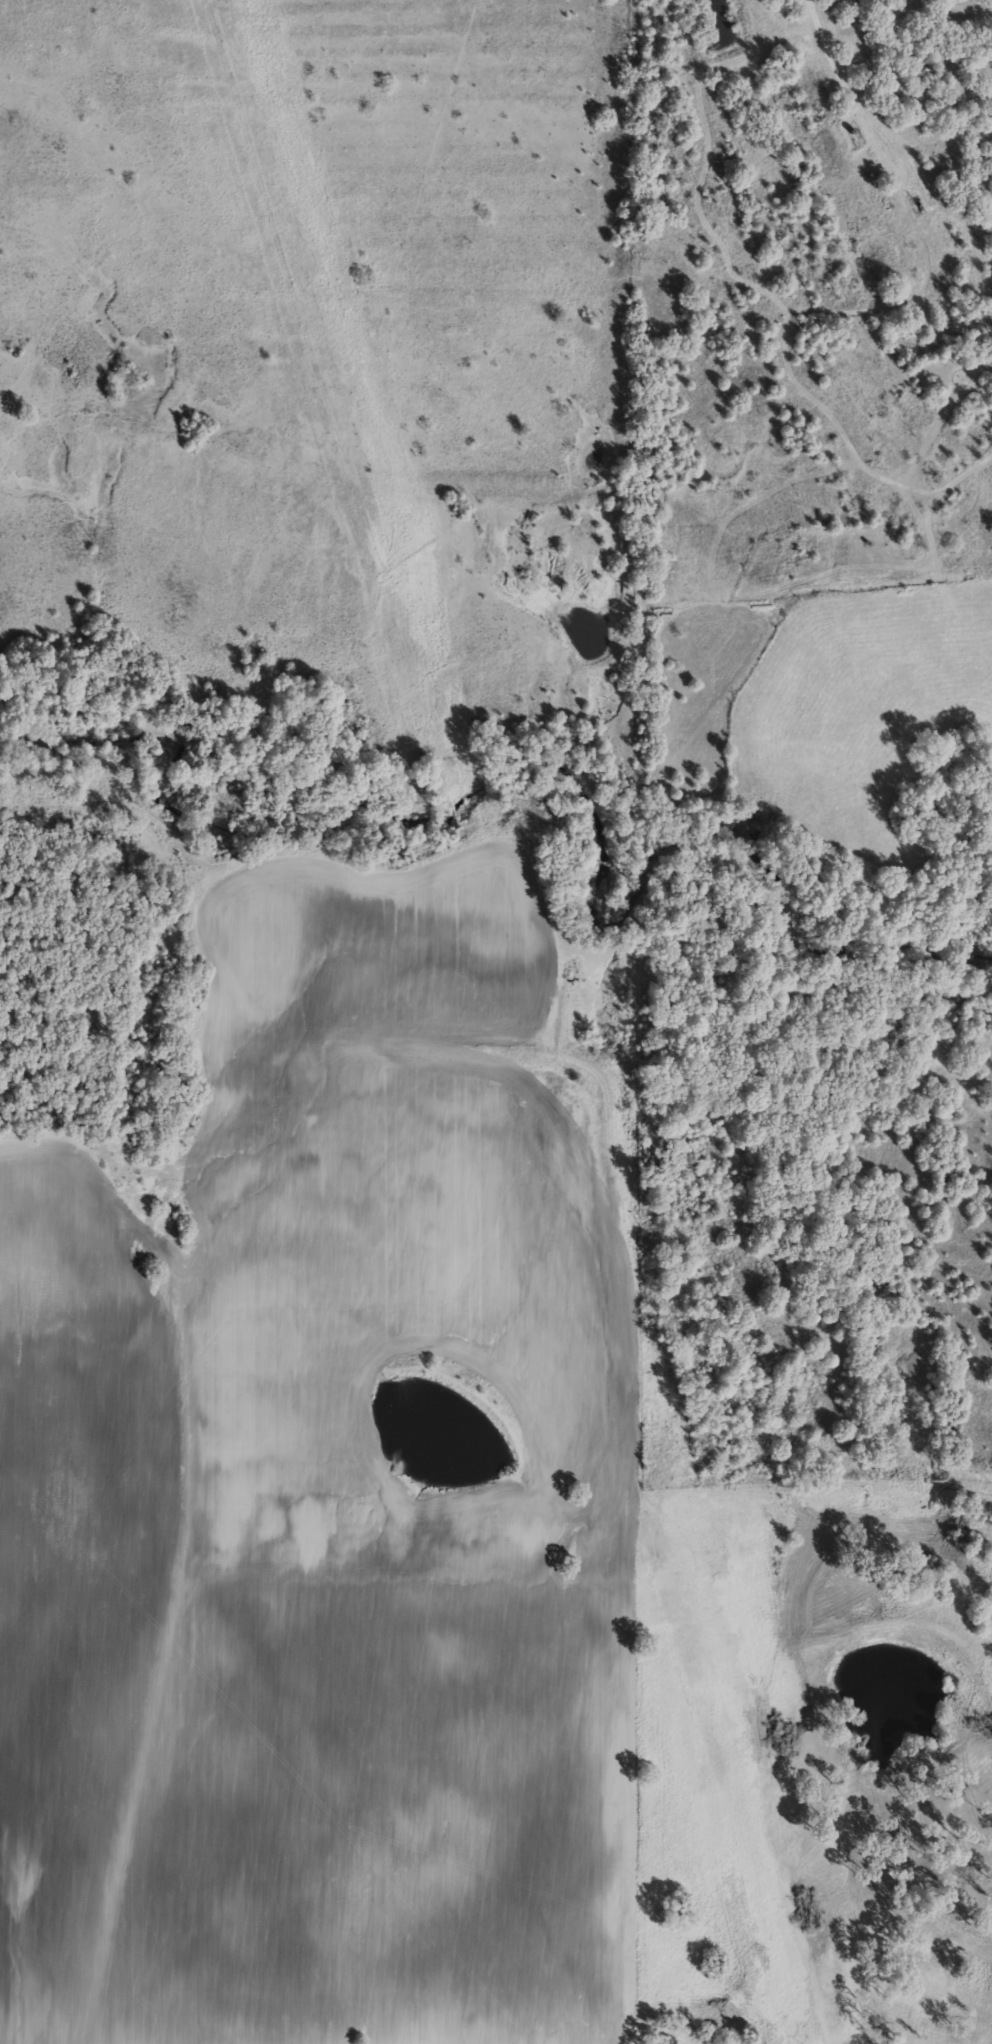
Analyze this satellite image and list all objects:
road: (902, 180)

